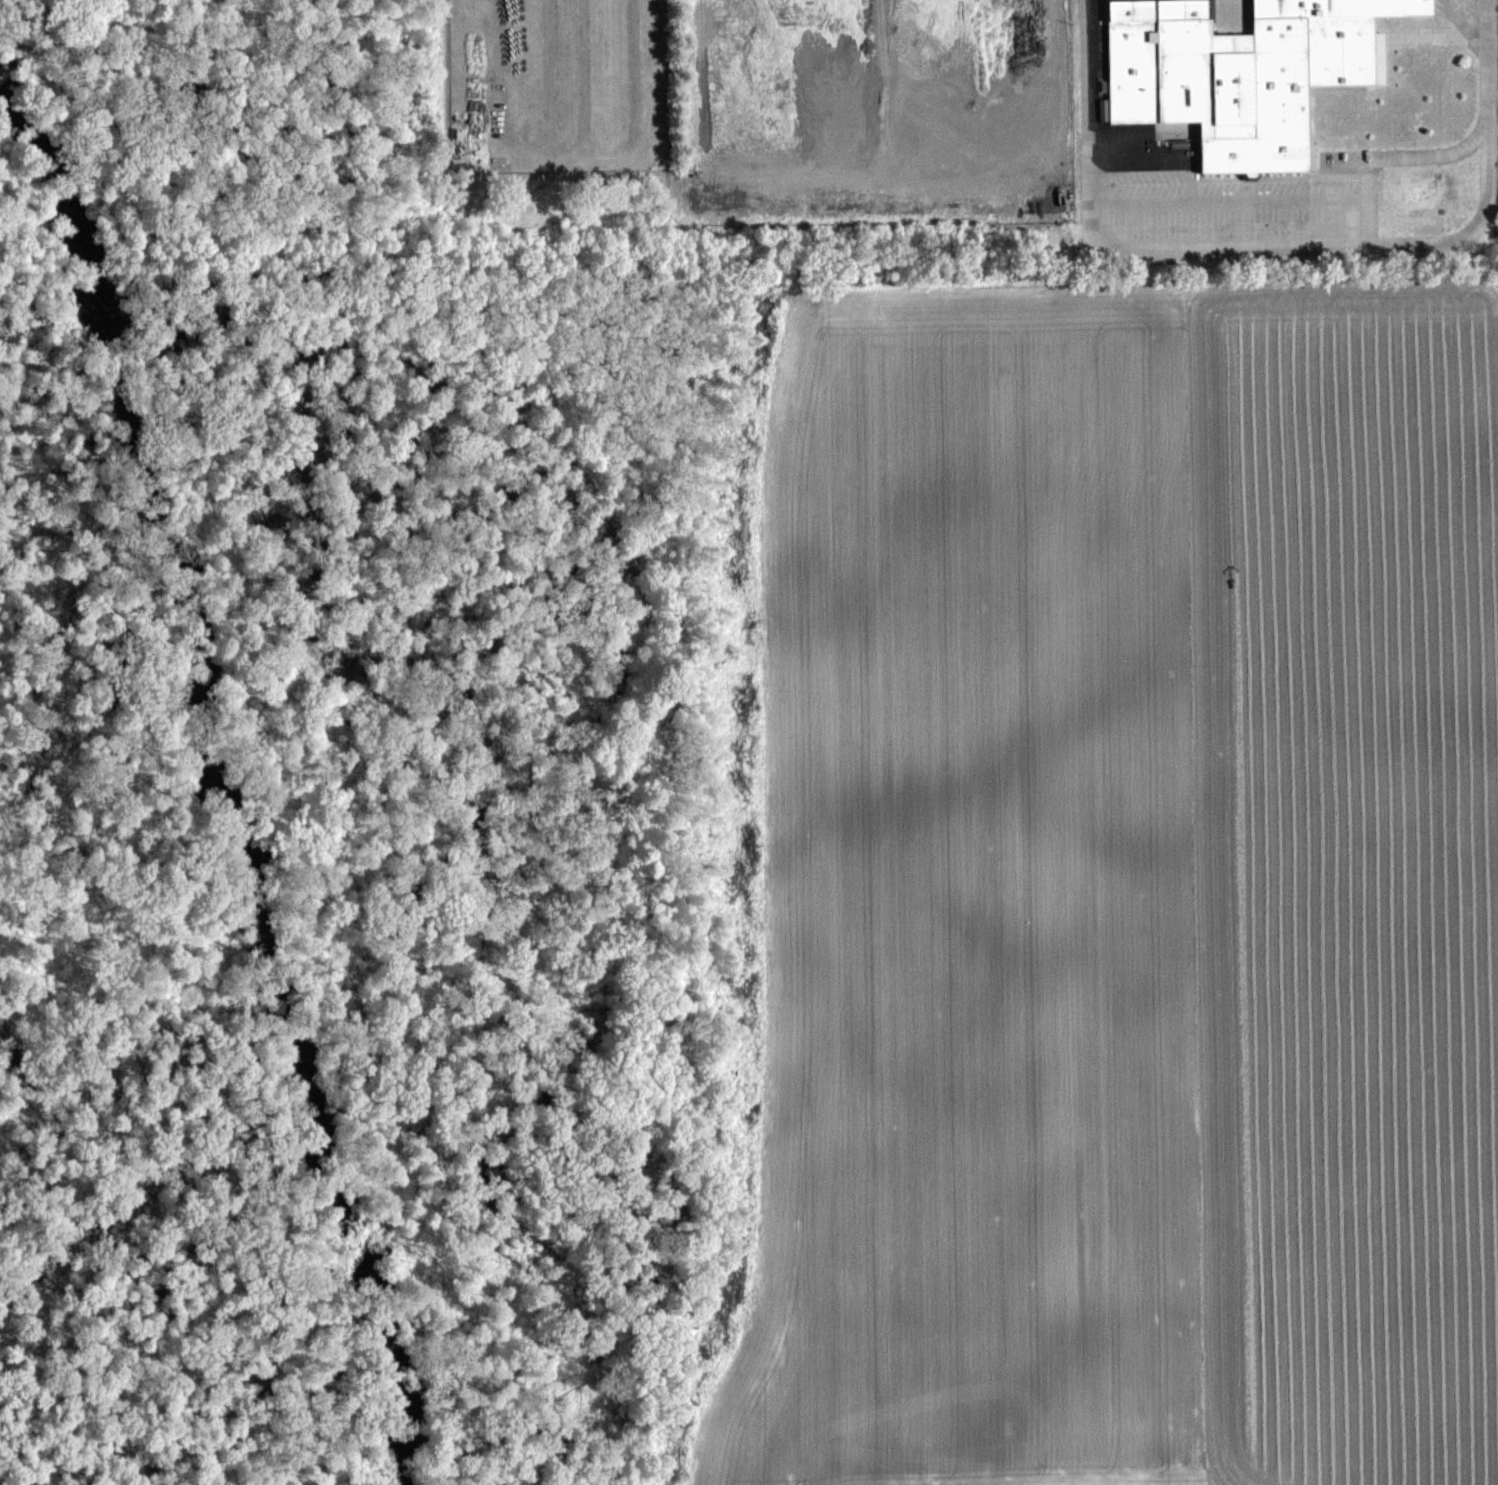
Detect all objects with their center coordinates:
building: (1224, 11)
road: (1462, 22)
road: (1484, 63)
building: (1237, 71)
parking lot: (1239, 206)
road: (1215, 246)
crop: (1127, 890)

